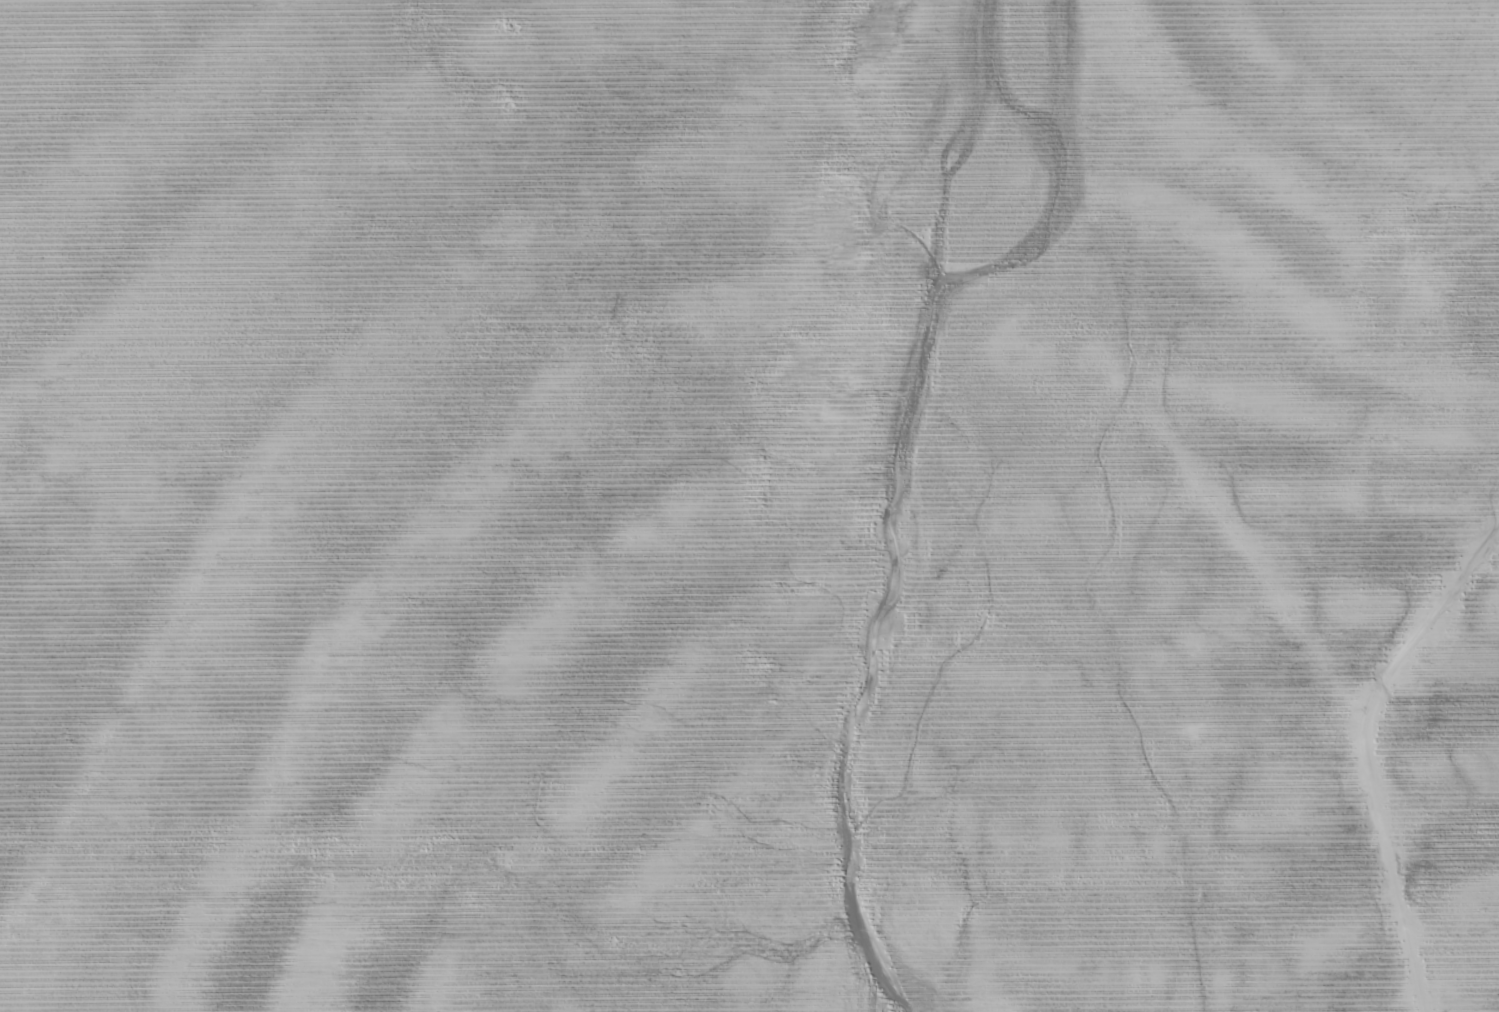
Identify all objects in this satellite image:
road: (1215, 515)
road: (1374, 756)

